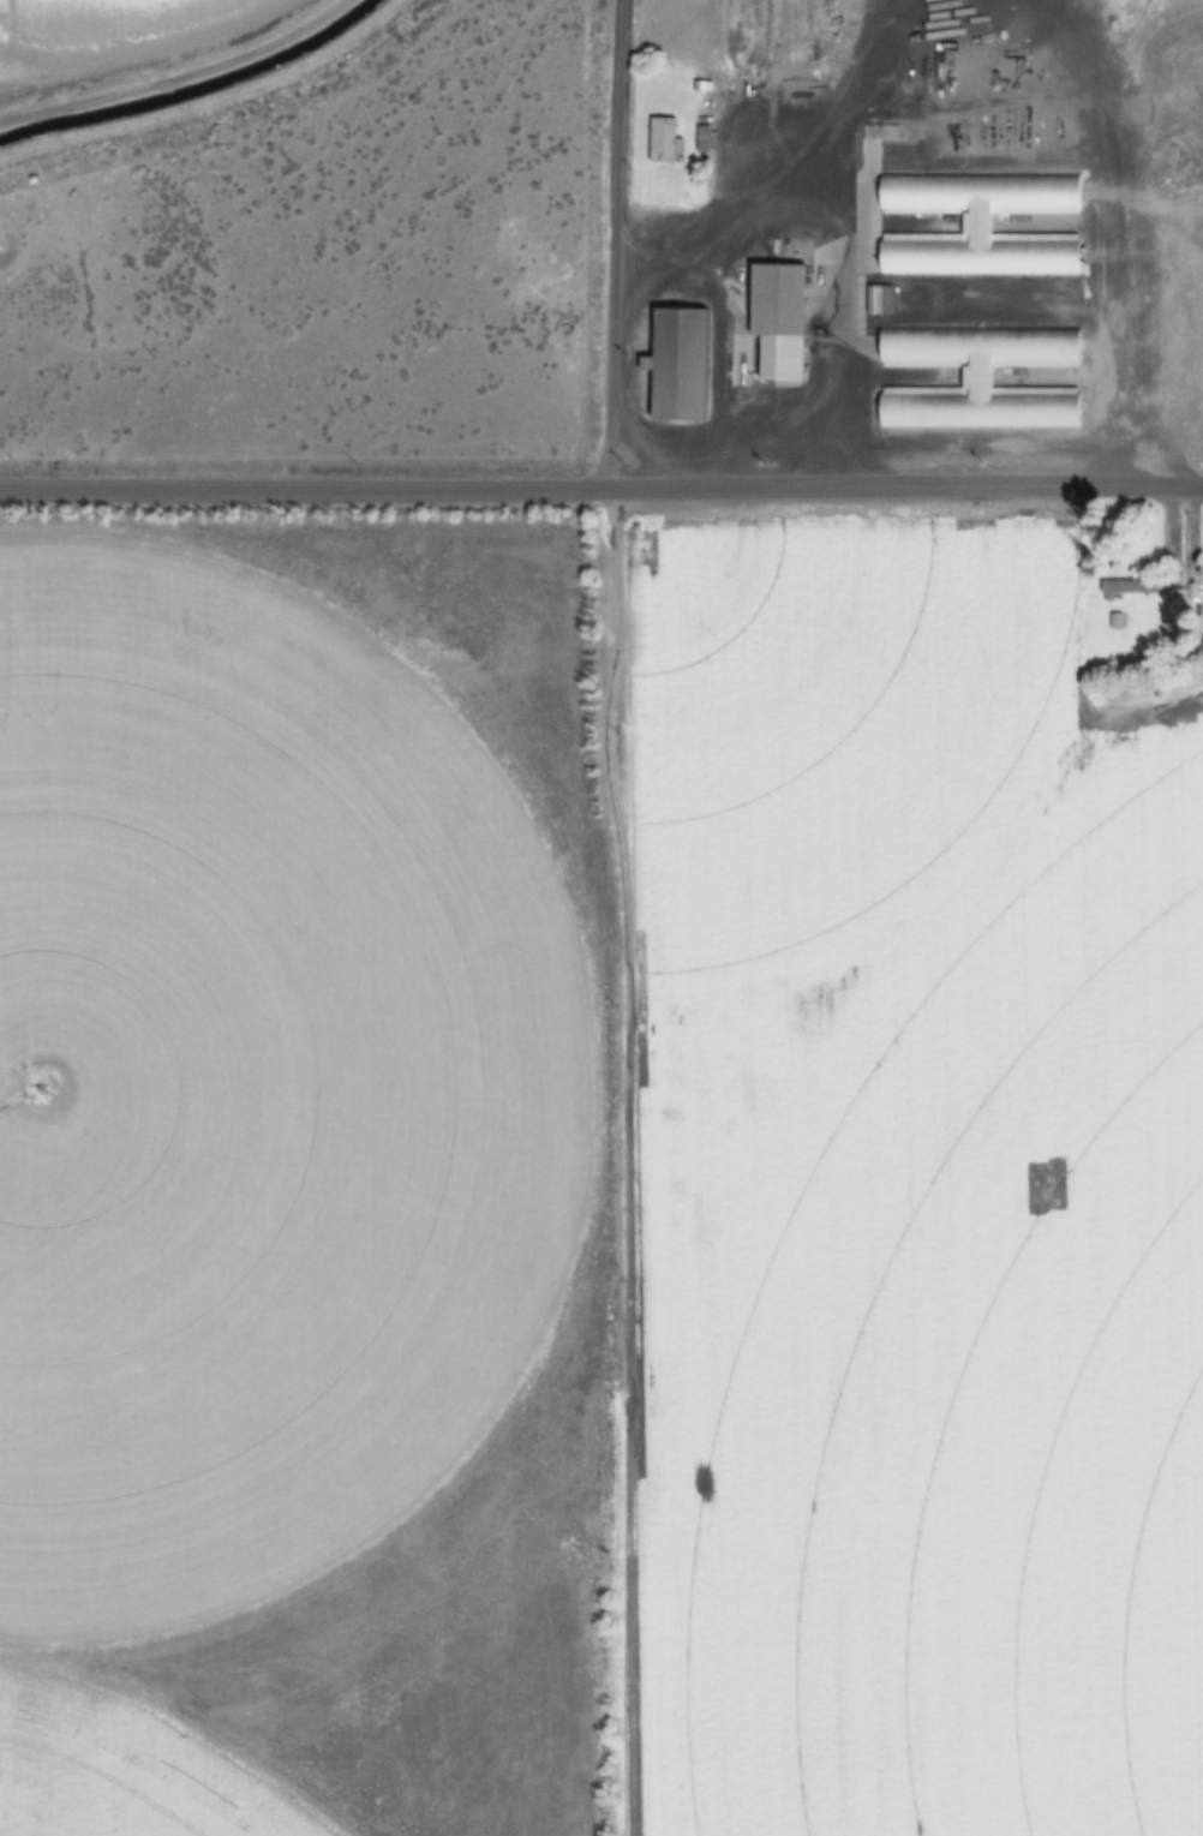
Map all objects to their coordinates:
road: (137, 46)
building: (664, 140)
building: (978, 223)
road: (615, 245)
building: (879, 299)
building: (778, 319)
building: (677, 364)
building: (978, 378)
road: (600, 489)
building: (1130, 587)
building: (1117, 622)

